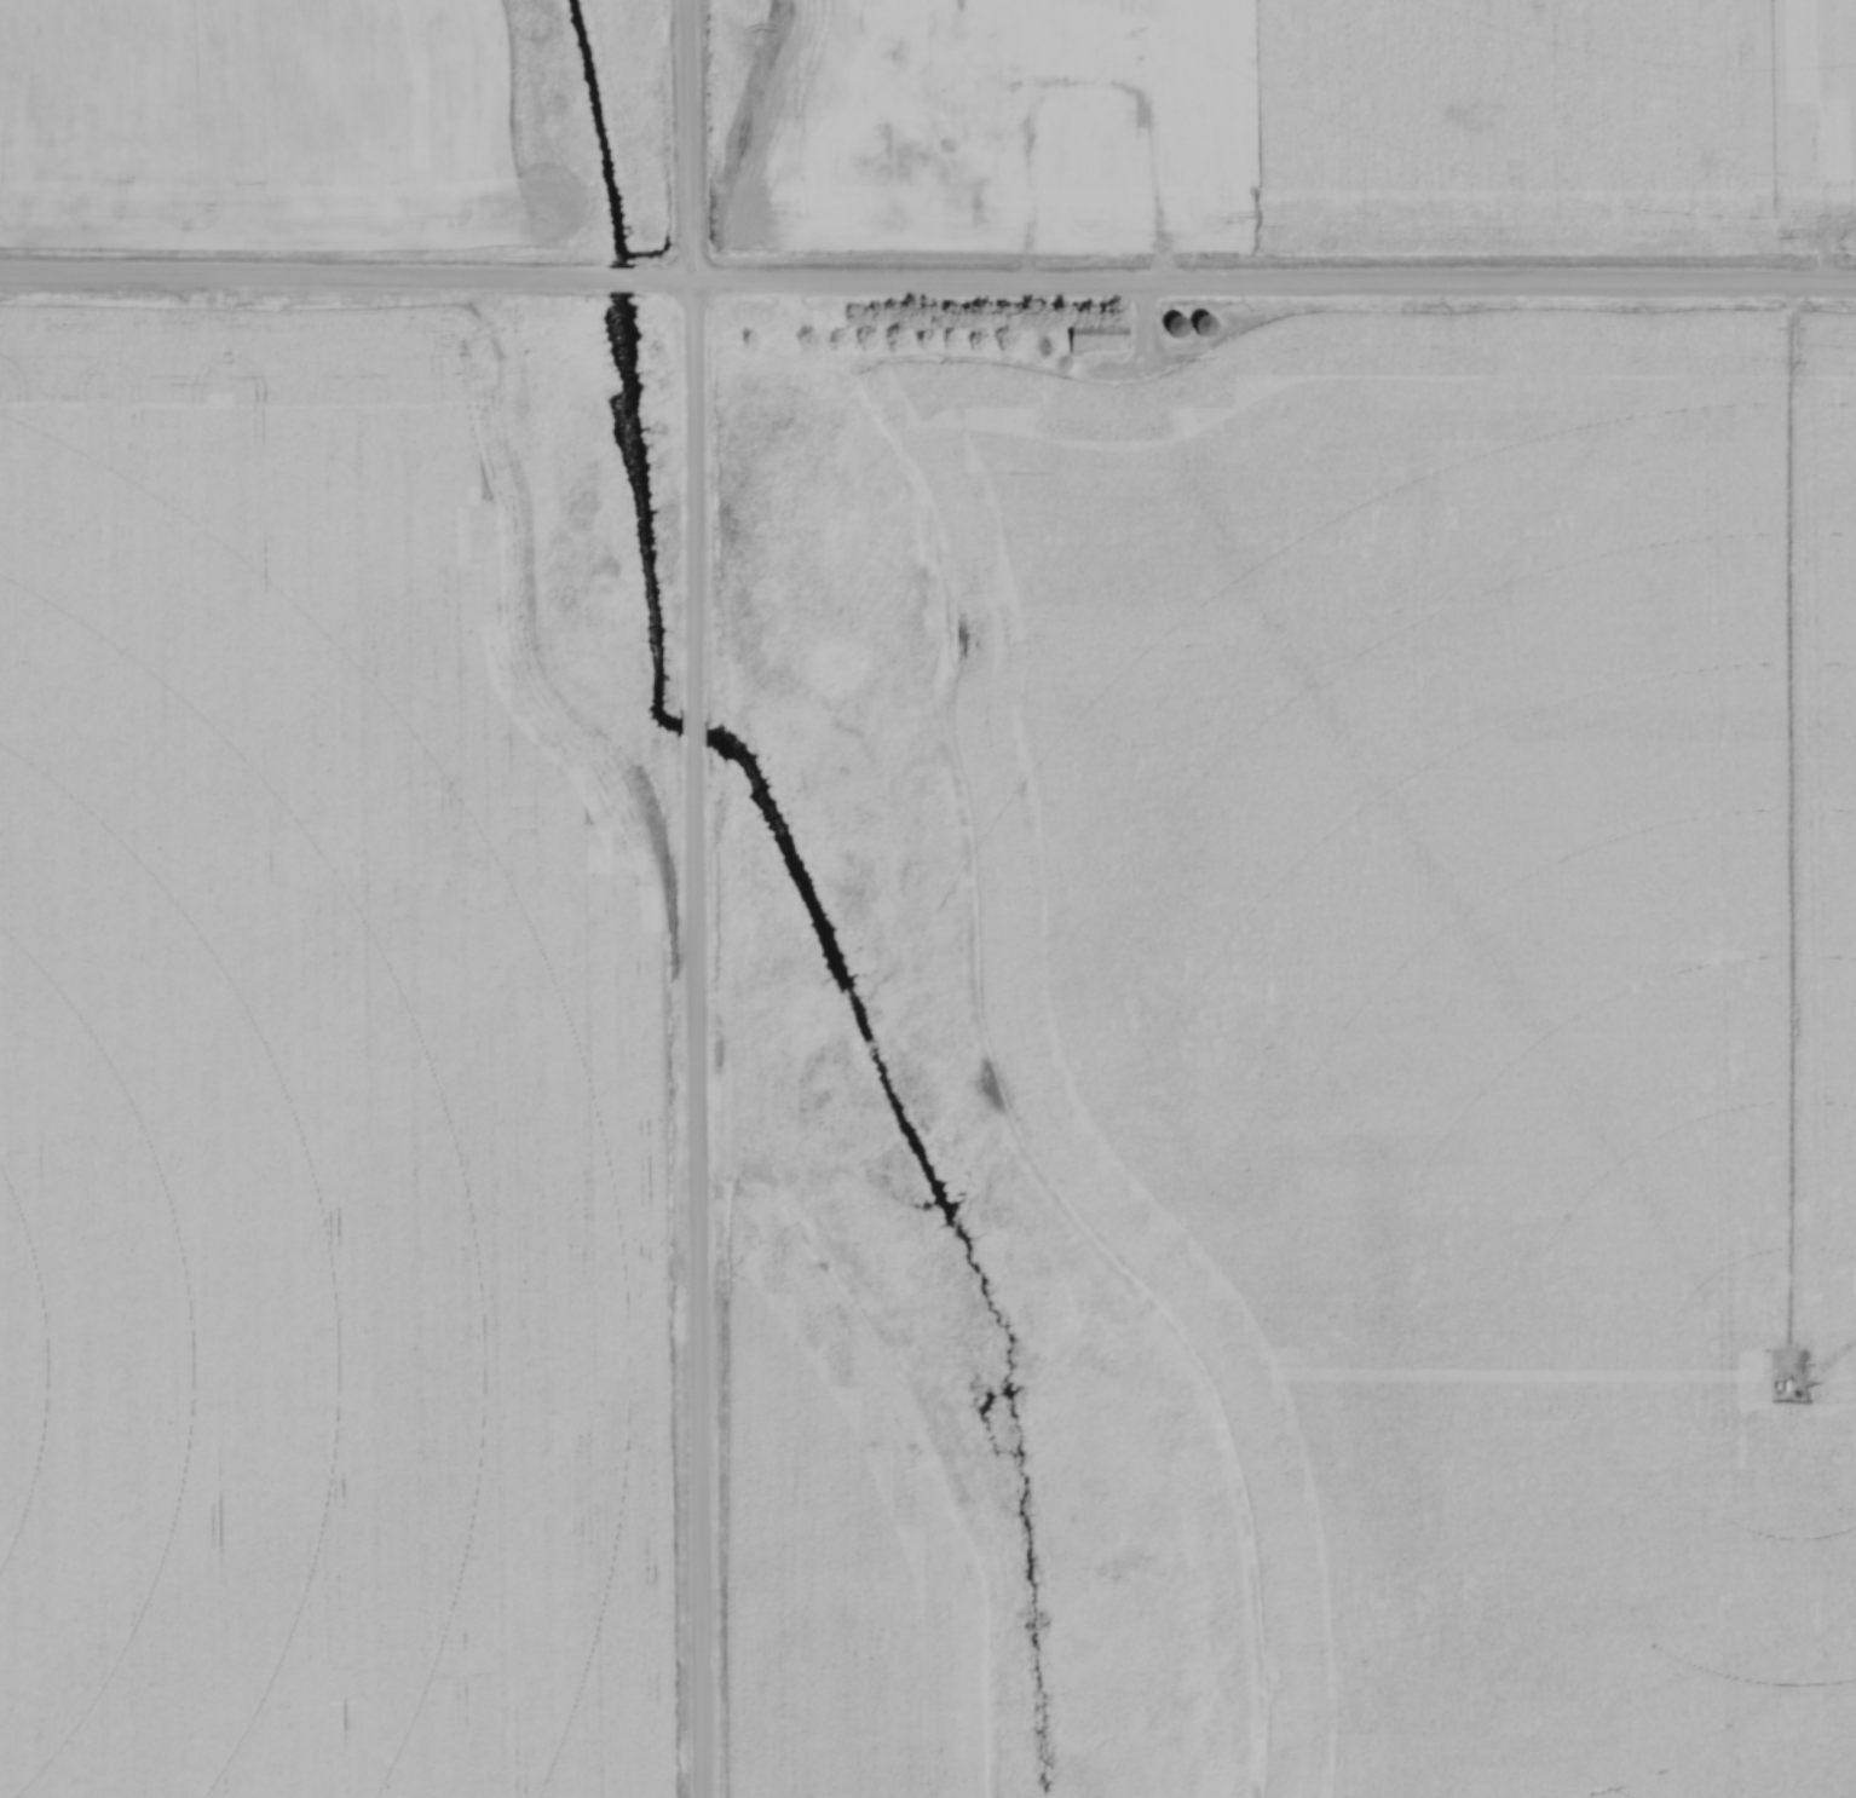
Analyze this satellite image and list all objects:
building: (957, 70)
road: (1084, 83)
building: (1107, 102)
building: (1112, 122)
building: (956, 144)
road: (927, 287)
building: (1101, 336)
road: (694, 898)

